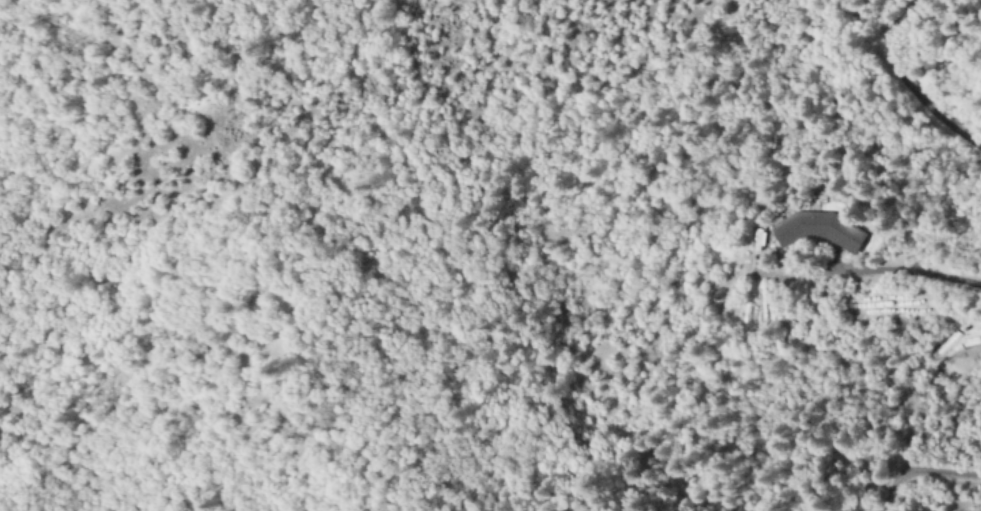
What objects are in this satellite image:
road: (908, 85)
building: (820, 230)

